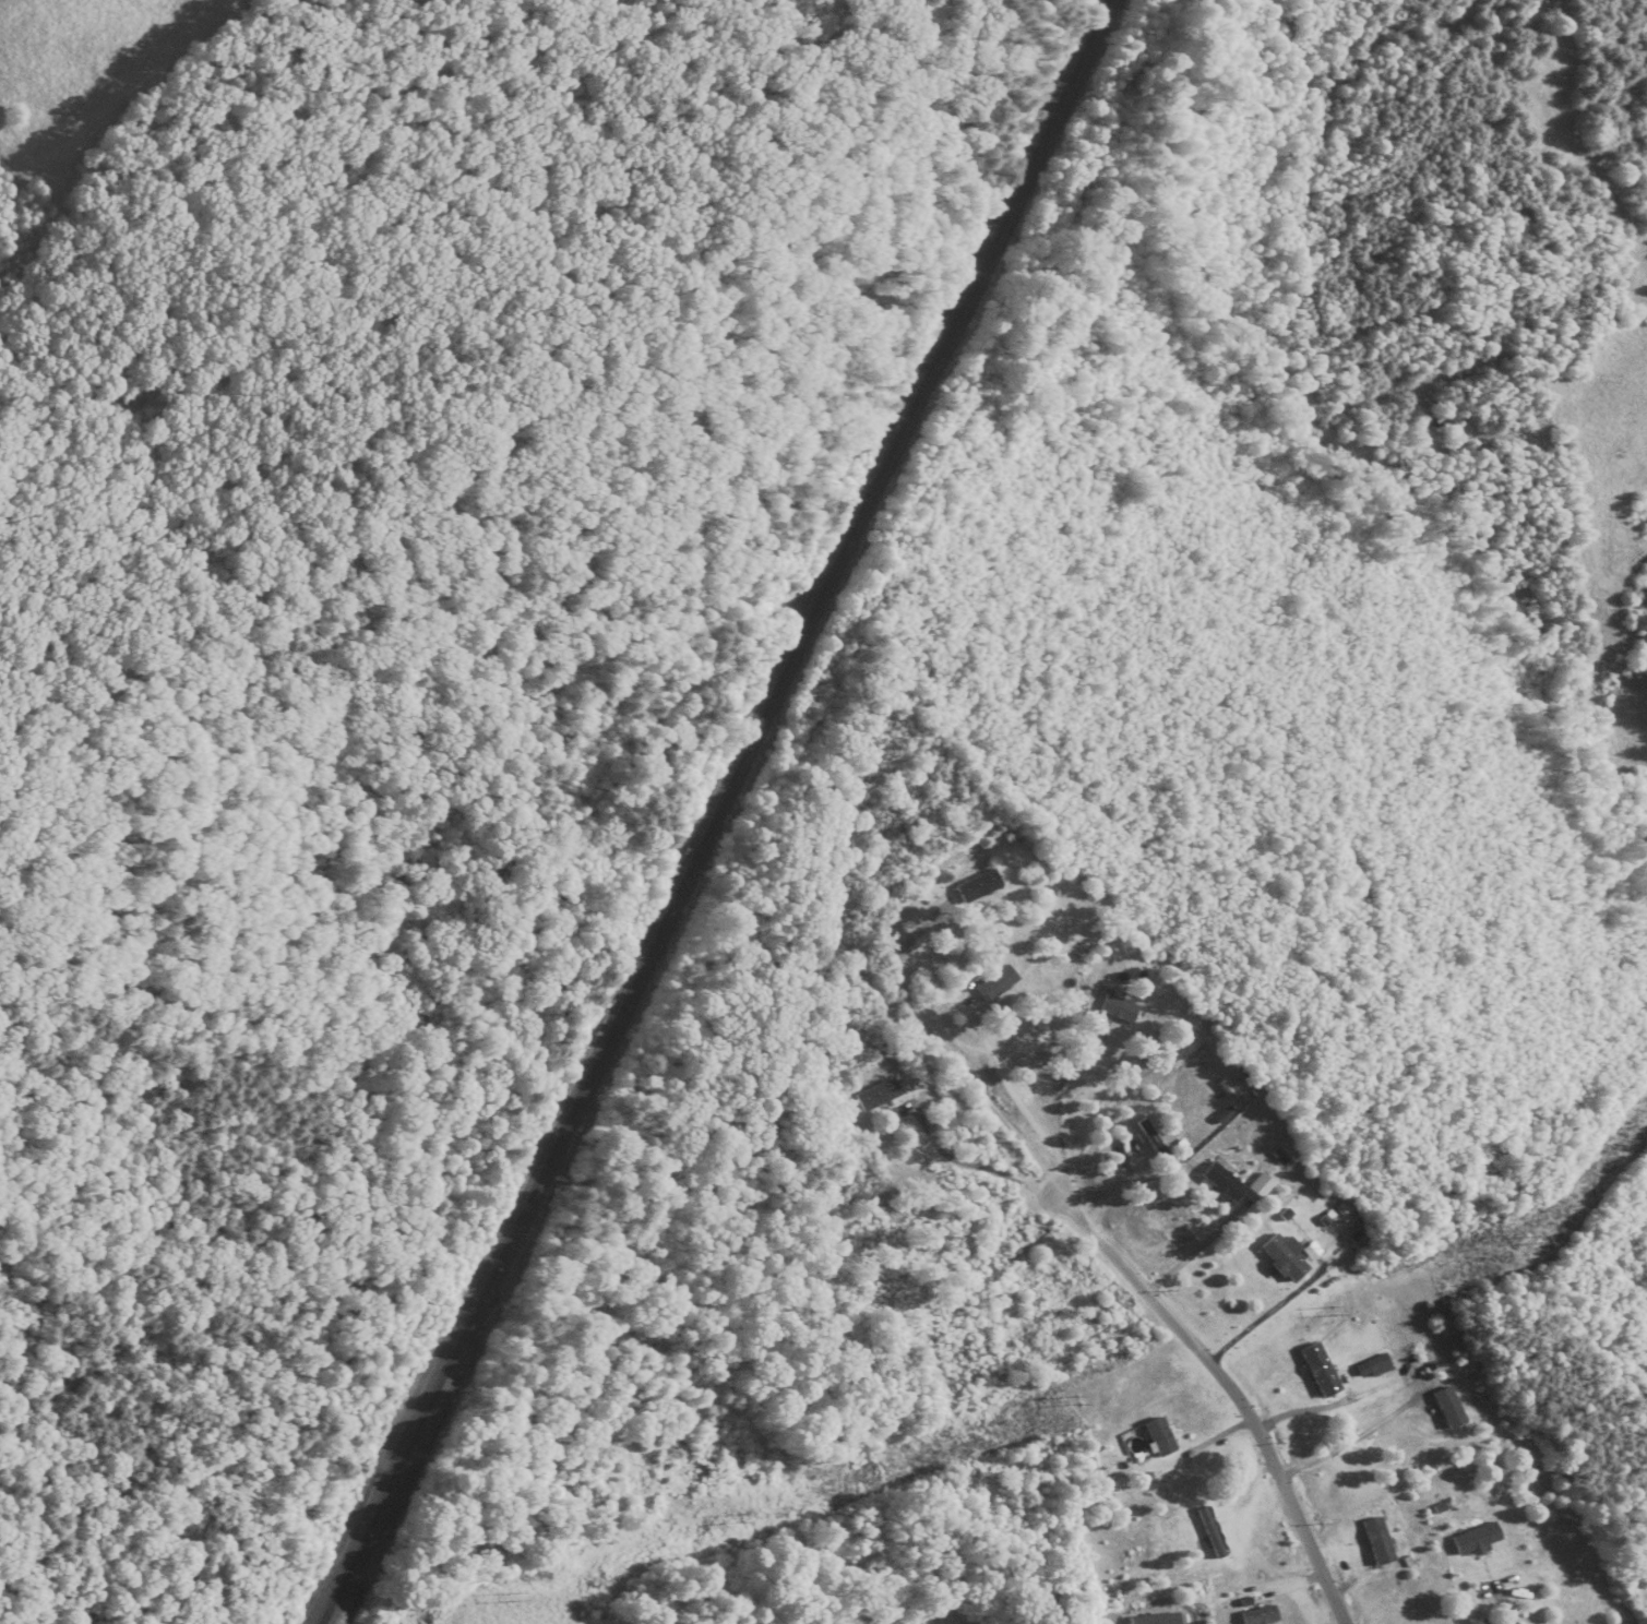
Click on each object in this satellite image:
railway: (1011, 183)
railway: (717, 812)
building: (977, 886)
road: (945, 1059)
building: (875, 1095)
road: (1058, 1116)
road: (975, 1167)
building: (1221, 1183)
road: (1112, 1190)
road: (1194, 1249)
building: (1282, 1257)
road: (1260, 1318)
building: (1372, 1366)
building: (1318, 1370)
road: (1231, 1389)
road: (1351, 1433)
building: (1159, 1437)
building: (1209, 1533)
building: (1475, 1539)
building: (1377, 1541)
road: (1489, 1595)
building: (1257, 1616)

